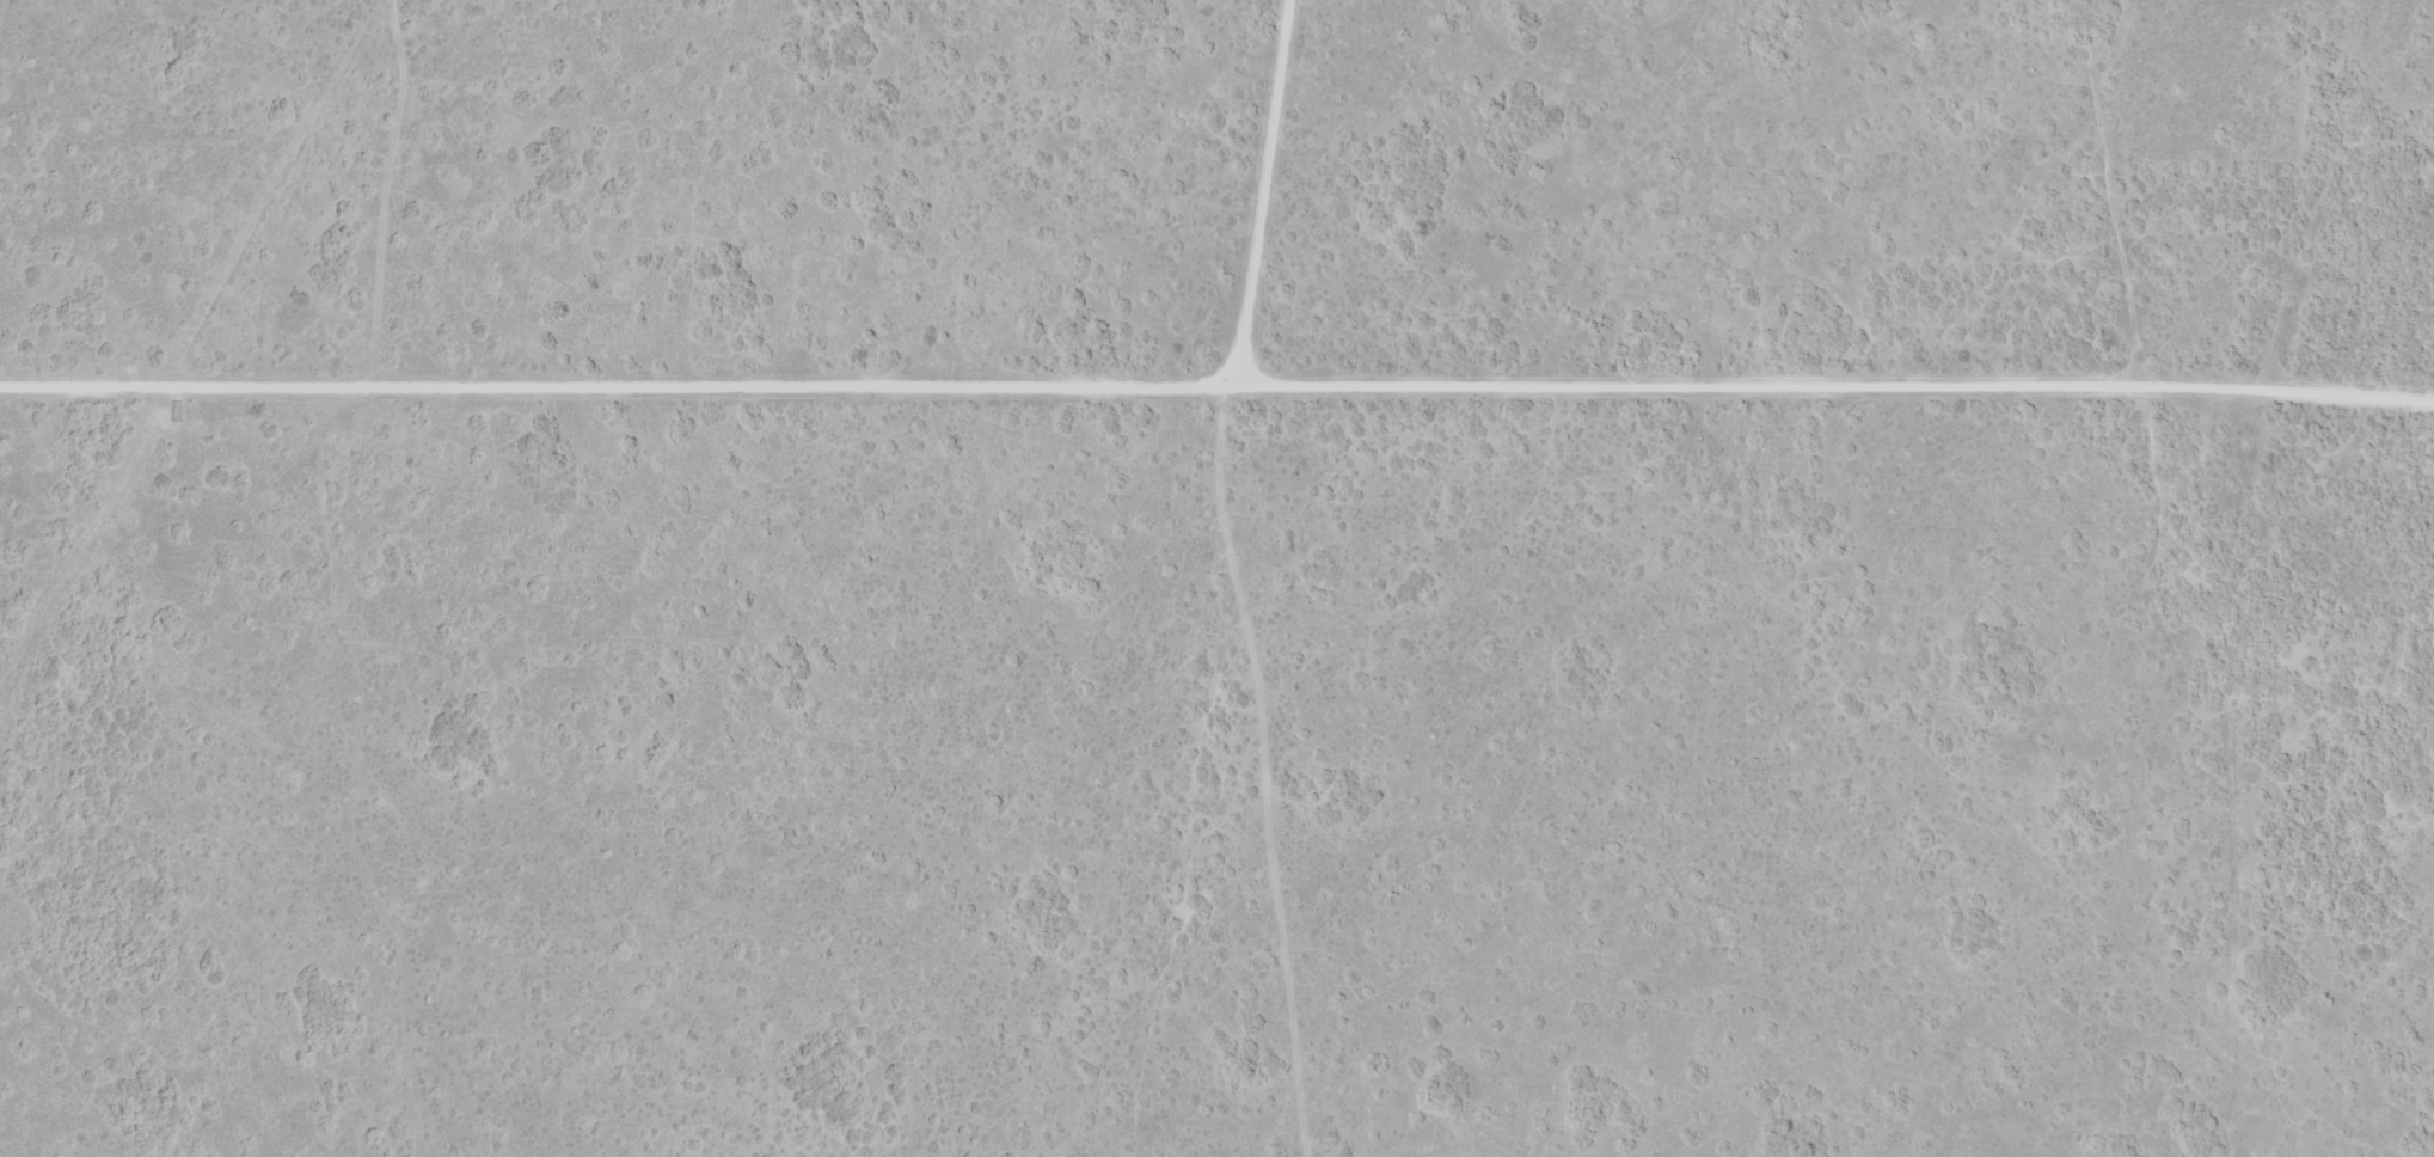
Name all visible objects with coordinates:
road: (1285, 196)
road: (1216, 392)

